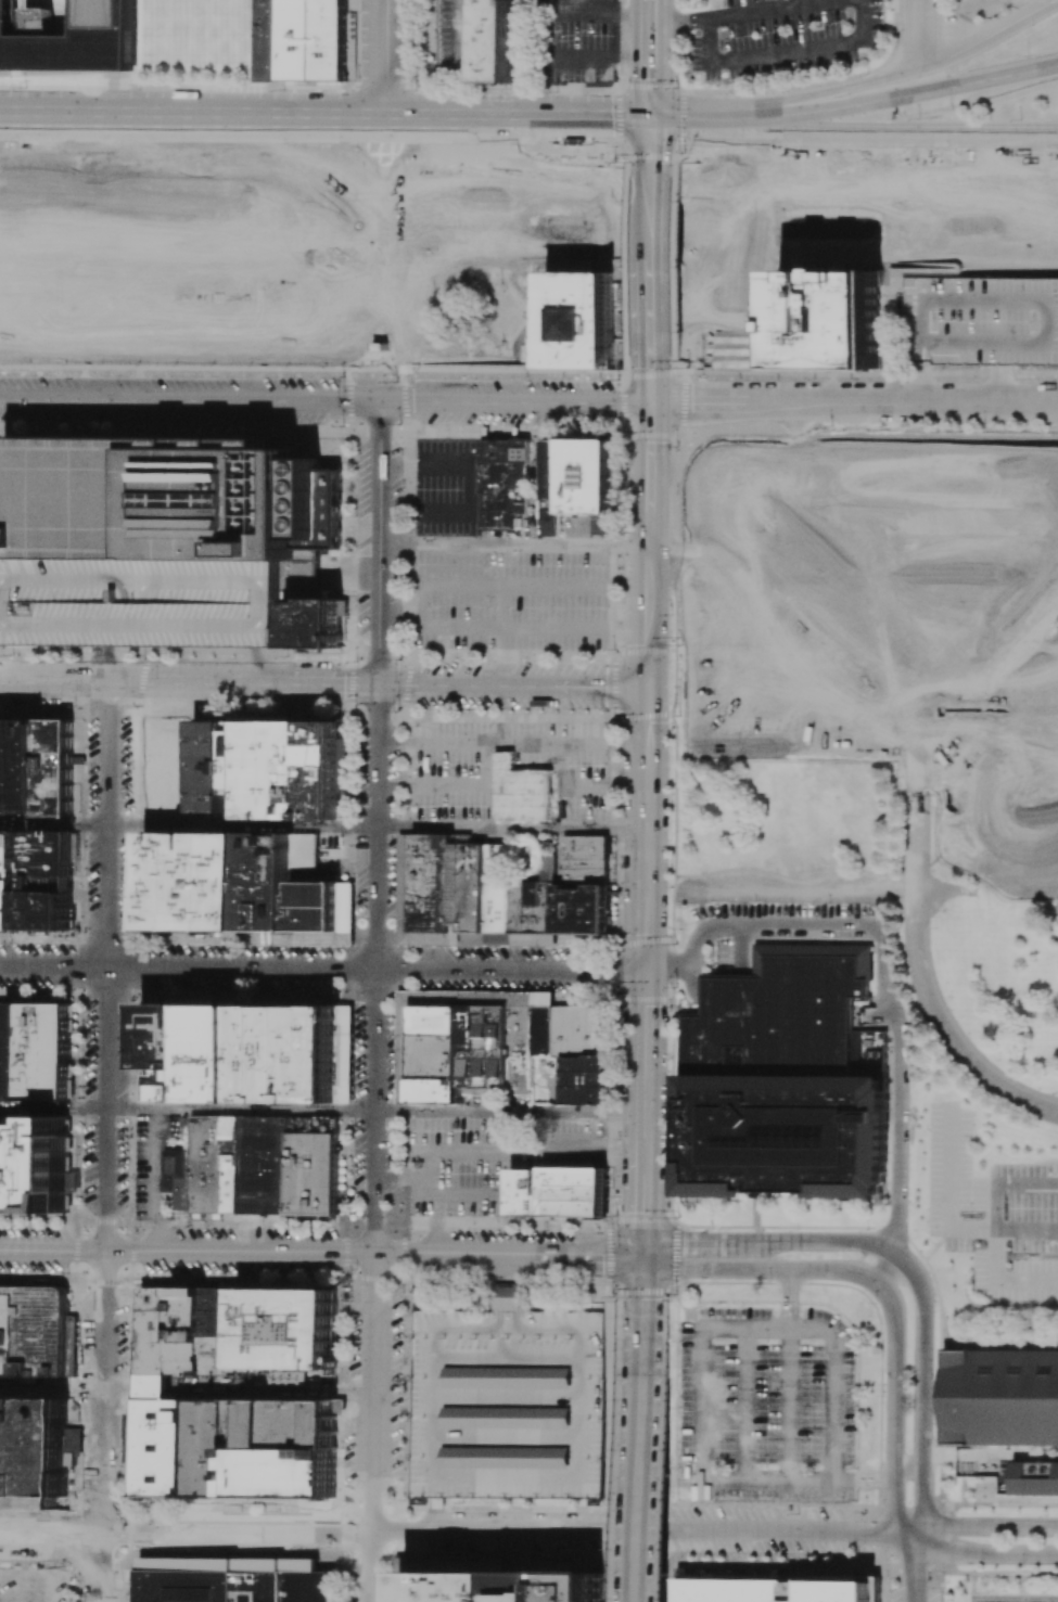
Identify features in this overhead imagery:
road: (800, 3)
road: (715, 4)
parking lot: (985, 9)
road: (776, 12)
road: (594, 13)
parking lot: (917, 22)
road: (679, 24)
road: (921, 34)
road: (987, 35)
building: (71, 38)
parking lot: (454, 38)
parking lot: (780, 38)
building: (306, 41)
building: (501, 42)
parking lot: (572, 43)
road: (787, 52)
road: (594, 54)
street lamp: (1031, 55)
road: (382, 59)
road: (651, 60)
street lamp: (615, 80)
street lamp: (677, 88)
road: (617, 90)
street lamp: (756, 92)
road: (824, 93)
road: (893, 98)
street lamp: (953, 108)
road: (191, 116)
road: (515, 118)
traffic signals: (651, 119)
road: (689, 119)
road: (892, 129)
road: (651, 142)
street lamp: (685, 152)
road: (652, 155)
road: (694, 155)
road: (627, 158)
road: (676, 159)
street lamp: (615, 162)
road: (651, 194)
park: (843, 231)
road: (651, 242)
park: (293, 255)
road: (381, 259)
road: (626, 265)
road: (675, 266)
road: (651, 271)
building: (831, 319)
building: (578, 320)
building: (981, 321)
parking lot: (981, 321)
road: (650, 325)
road: (675, 369)
road: (866, 373)
road: (650, 374)
road: (624, 379)
road: (650, 385)
road: (923, 388)
road: (169, 399)
traffic signals: (380, 400)
road: (381, 400)
road: (523, 401)
road: (684, 401)
road: (623, 402)
road: (636, 402)
traffic signals: (650, 402)
road: (703, 402)
road: (776, 402)
road: (813, 402)
road: (944, 403)
road: (621, 424)
road: (649, 433)
road: (649, 460)
road: (396, 461)
building: (588, 475)
building: (537, 476)
road: (475, 480)
building: (503, 480)
parking lot: (447, 486)
building: (553, 486)
building: (162, 499)
building: (332, 515)
building: (1012, 515)
building: (604, 525)
road: (379, 542)
road: (617, 542)
road: (513, 549)
road: (348, 574)
road: (496, 584)
parking lot: (510, 599)
road: (648, 602)
building: (154, 603)
parking garage: (154, 603)
road: (612, 607)
building: (319, 611)
road: (395, 614)
road: (505, 628)
road: (612, 632)
building: (972, 632)
road: (502, 635)
road: (629, 636)
building: (319, 640)
road: (632, 652)
road: (253, 667)
road: (140, 683)
road: (329, 684)
road: (463, 685)
road: (615, 685)
road: (598, 687)
traffic signals: (647, 687)
building: (1048, 709)
road: (630, 716)
road: (647, 716)
road: (511, 743)
building: (233, 756)
building: (208, 765)
building: (28, 766)
building: (5, 767)
building: (60, 769)
building: (256, 769)
building: (306, 769)
road: (451, 782)
road: (583, 784)
building: (521, 791)
parking lot: (454, 794)
building: (181, 798)
road: (80, 813)
road: (54, 822)
road: (109, 825)
road: (243, 825)
road: (377, 826)
road: (511, 828)
road: (613, 831)
building: (1024, 842)
building: (49, 847)
road: (646, 858)
building: (584, 861)
building: (49, 870)
building: (4, 880)
building: (16, 880)
road: (788, 880)
building: (166, 881)
building: (200, 881)
building: (233, 881)
building: (273, 881)
building: (434, 883)
building: (460, 883)
building: (49, 885)
building: (475, 887)
building: (498, 887)
road: (673, 887)
building: (321, 906)
building: (534, 908)
building: (583, 909)
building: (49, 911)
road: (672, 919)
road: (744, 925)
parking lot: (780, 927)
road: (645, 940)
road: (77, 966)
road: (321, 969)
road: (625, 971)
traffic signals: (645, 971)
road: (648, 999)
road: (645, 1013)
road: (935, 1022)
building: (47, 1028)
building: (545, 1030)
building: (581, 1033)
road: (930, 1033)
road: (956, 1035)
building: (488, 1044)
road: (75, 1049)
building: (4, 1050)
building: (522, 1050)
building: (17, 1051)
building: (171, 1051)
building: (226, 1052)
building: (275, 1052)
building: (322, 1052)
building: (439, 1053)
building: (47, 1077)
building: (585, 1080)
road: (671, 1080)
building: (785, 1082)
road: (901, 1087)
road: (53, 1106)
road: (643, 1106)
road: (241, 1110)
road: (375, 1111)
road: (616, 1111)
road: (509, 1112)
road: (500, 1148)
building: (5, 1150)
parking lot: (487, 1155)
parking lot: (155, 1156)
building: (233, 1164)
building: (207, 1165)
building: (266, 1165)
building: (38, 1170)
building: (315, 1174)
building: (177, 1176)
road: (403, 1177)
road: (106, 1178)
road: (431, 1186)
road: (1003, 1188)
building: (561, 1191)
road: (948, 1191)
road: (458, 1193)
road: (643, 1206)
parking lot: (991, 1210)
road: (641, 1221)
road: (772, 1227)
road: (1025, 1231)
road: (770, 1241)
road: (321, 1251)
traffic signals: (643, 1254)
road: (993, 1266)
road: (762, 1268)
road: (510, 1269)
road: (889, 1271)
road: (643, 1278)
road: (789, 1298)
building: (291, 1328)
building: (161, 1330)
building: (33, 1331)
building: (193, 1331)
building: (227, 1332)
road: (642, 1363)
road: (122, 1389)
road: (155, 1389)
road: (273, 1390)
road: (923, 1390)
building: (1003, 1396)
building: (508, 1402)
road: (744, 1402)
road: (789, 1402)
parking lot: (766, 1406)
road: (893, 1412)
road: (372, 1426)
building: (12, 1446)
building: (50, 1447)
building: (169, 1447)
building: (214, 1448)
building: (289, 1471)
road: (908, 1471)
road: (742, 1476)
building: (1036, 1477)
road: (863, 1478)
road: (105, 1496)
road: (641, 1513)
road: (436, 1516)
road: (985, 1526)
road: (52, 1534)
road: (239, 1535)
road: (615, 1535)
road: (887, 1535)
road: (984, 1550)
road: (914, 1567)
building: (778, 1584)
building: (238, 1586)
building: (512, 1587)
parking lot: (1012, 1597)

